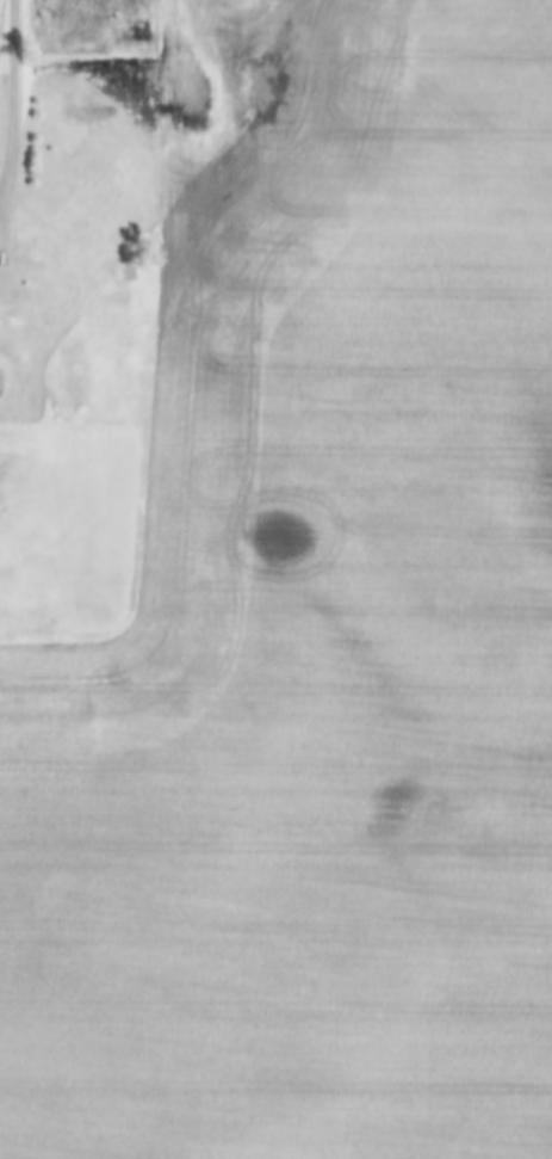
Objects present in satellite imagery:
road: (19, 104)

